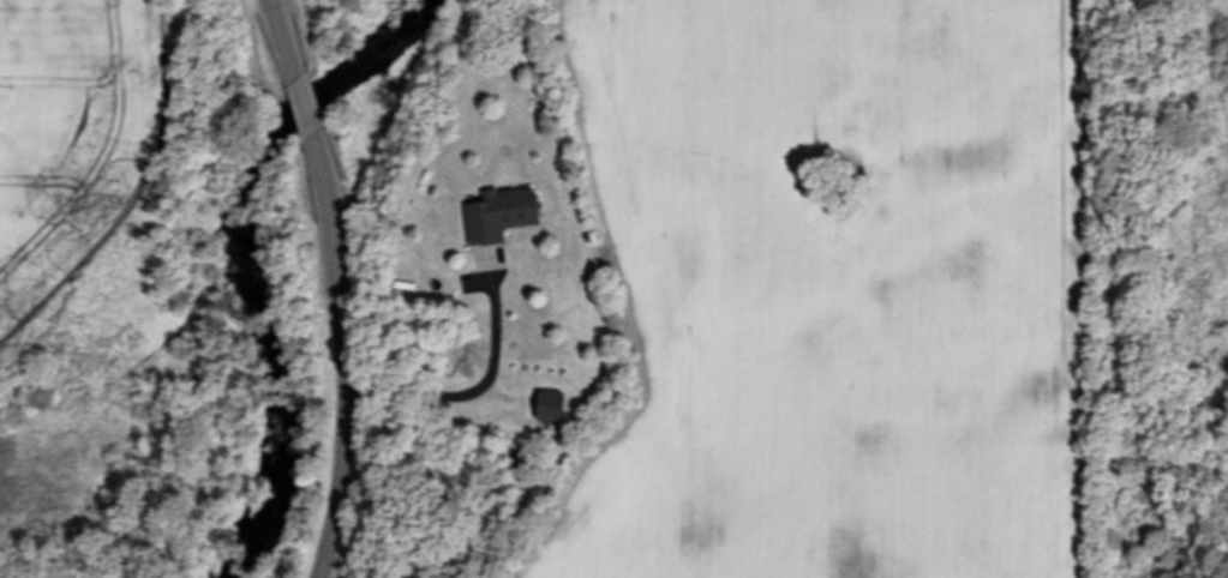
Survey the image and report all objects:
road: (286, 40)
road: (306, 107)
building: (503, 215)
river: (244, 252)
road: (354, 359)
road: (483, 393)
building: (553, 407)

